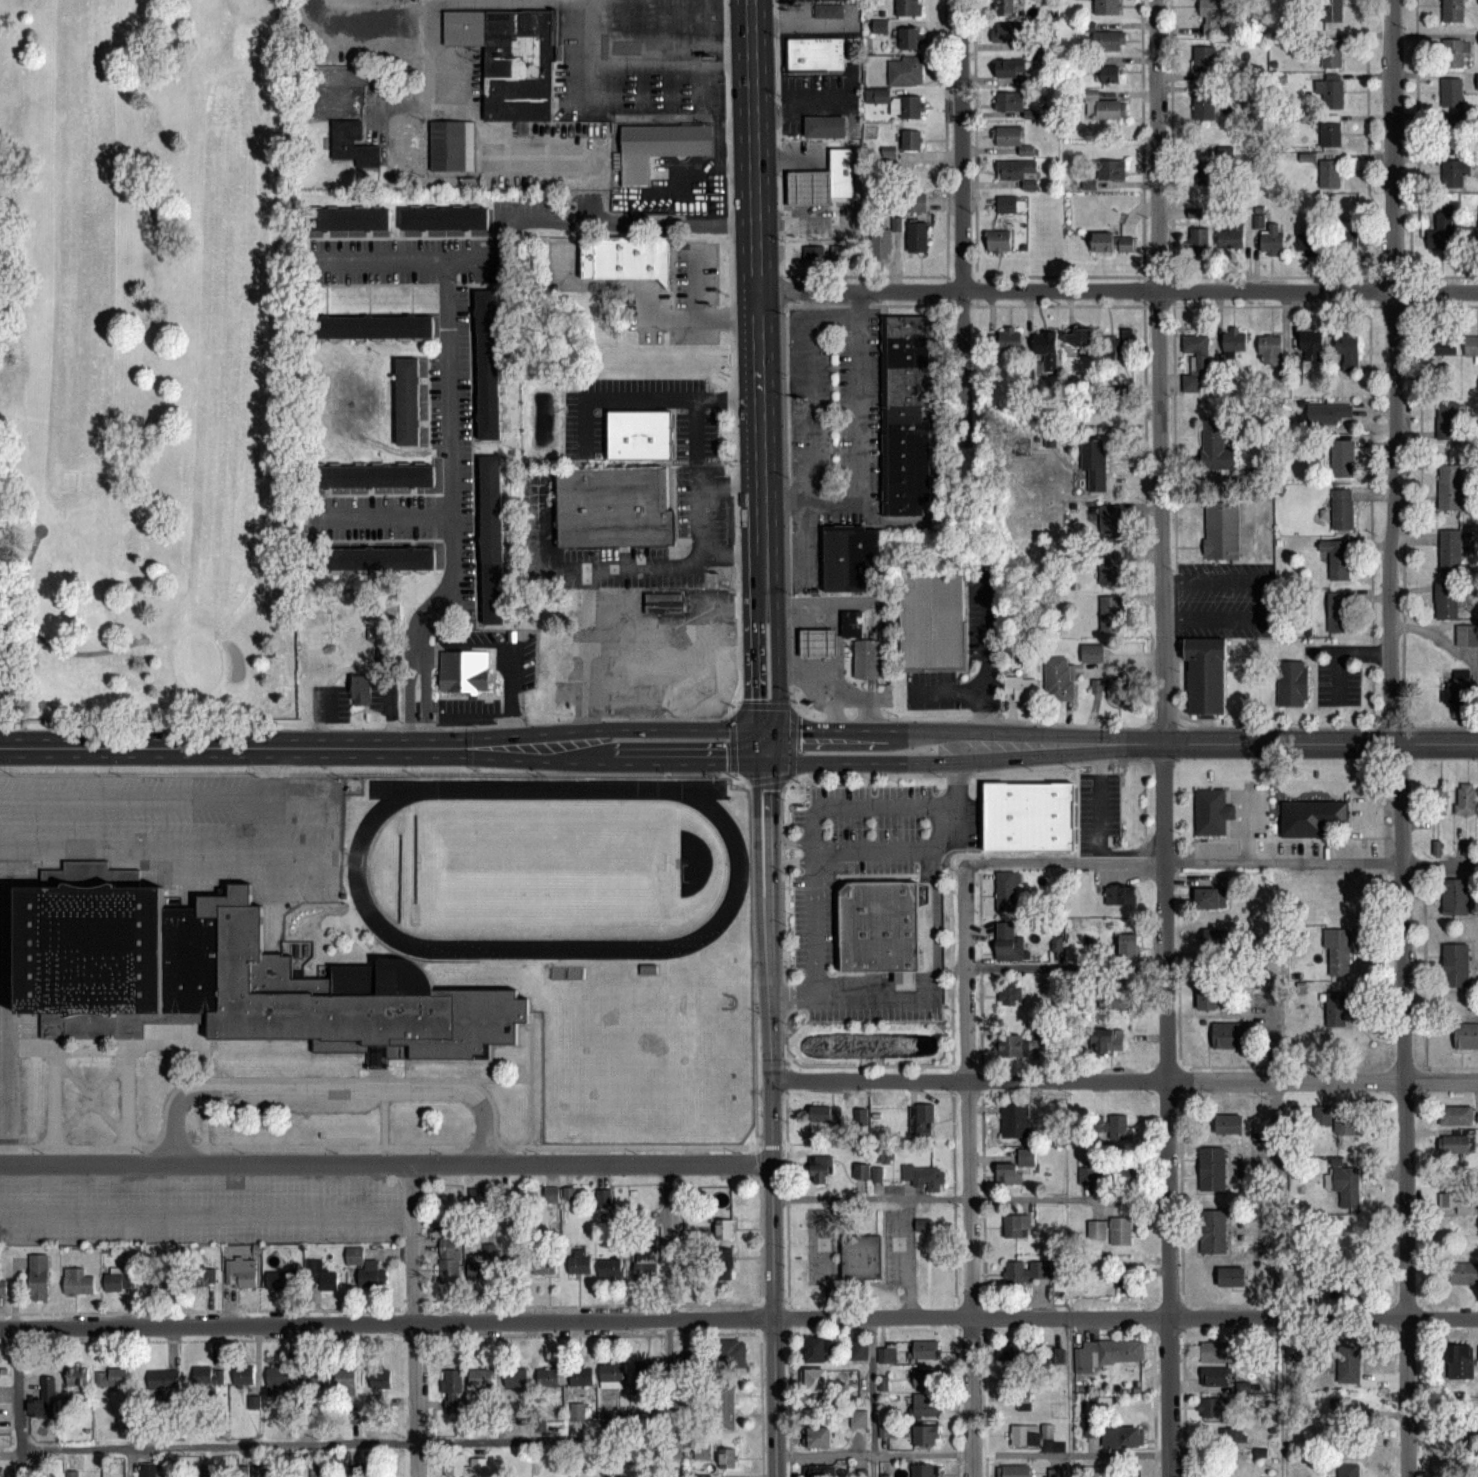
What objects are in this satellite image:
building: (908, 7)
building: (1108, 7)
building: (1006, 8)
building: (827, 9)
building: (1453, 10)
building: (1333, 14)
building: (1211, 18)
building: (1006, 32)
building: (911, 39)
building: (1109, 41)
building: (814, 53)
building: (1332, 53)
building: (1453, 53)
building: (510, 58)
building: (1205, 58)
road: (643, 60)
building: (1009, 68)
building: (906, 70)
building: (1110, 74)
building: (1452, 91)
building: (1331, 94)
road: (636, 98)
building: (1010, 101)
building: (911, 106)
building: (1205, 106)
building: (1103, 108)
building: (823, 125)
building: (1456, 128)
building: (1331, 131)
building: (1008, 135)
building: (912, 140)
building: (353, 144)
building: (451, 144)
building: (658, 146)
building: (1209, 162)
building: (1113, 168)
building: (1018, 170)
building: (1330, 173)
building: (1457, 174)
building: (809, 187)
building: (836, 188)
building: (916, 202)
building: (1007, 203)
building: (1195, 212)
building: (345, 218)
building: (444, 218)
road: (961, 221)
road: (588, 222)
building: (1443, 229)
building: (1349, 235)
building: (917, 237)
building: (1231, 237)
building: (1272, 237)
building: (1472, 238)
building: (999, 240)
building: (1198, 240)
road: (756, 241)
building: (881, 243)
building: (1113, 243)
building: (1307, 244)
building: (828, 253)
building: (625, 256)
road: (695, 282)
road: (1117, 290)
road: (683, 319)
building: (368, 326)
building: (1079, 335)
building: (1008, 339)
building: (1234, 341)
building: (1121, 345)
building: (1312, 345)
building: (1443, 345)
building: (1471, 345)
building: (1047, 347)
building: (1271, 347)
building: (1197, 350)
building: (1347, 353)
park: (147, 362)
building: (487, 364)
building: (1191, 383)
road: (643, 398)
building: (363, 400)
building: (407, 400)
road: (451, 405)
building: (1329, 413)
building: (904, 414)
building: (1449, 420)
building: (639, 434)
road: (696, 441)
road: (857, 443)
building: (1215, 445)
building: (1342, 458)
building: (1095, 464)
building: (368, 475)
road: (729, 484)
building: (1450, 487)
building: (614, 506)
building: (1343, 509)
road: (386, 514)
building: (1110, 523)
building: (1222, 530)
building: (491, 539)
road: (761, 545)
road: (731, 551)
building: (1451, 551)
building: (850, 557)
building: (369, 558)
building: (1339, 560)
road: (618, 566)
building: (1110, 568)
road: (1262, 597)
building: (1446, 600)
building: (663, 603)
road: (801, 608)
building: (1340, 612)
building: (1111, 614)
building: (930, 621)
building: (851, 622)
road: (628, 632)
building: (1467, 635)
building: (817, 642)
road: (822, 642)
road: (58, 647)
road: (1337, 650)
road: (721, 652)
building: (1092, 652)
building: (866, 657)
road: (984, 660)
road: (417, 661)
road: (357, 665)
road: (753, 665)
building: (464, 669)
building: (1204, 674)
building: (1059, 679)
road: (774, 681)
road: (836, 682)
building: (1291, 682)
building: (1021, 688)
building: (362, 689)
building: (1113, 689)
road: (948, 690)
road: (827, 692)
building: (1458, 693)
road: (512, 696)
road: (667, 727)
traffic signals: (754, 727)
road: (764, 727)
traffic signals: (774, 728)
road: (867, 728)
road: (513, 730)
road: (415, 736)
road: (1394, 737)
road: (1162, 738)
road: (1217, 743)
road: (754, 744)
road: (293, 747)
traffic signals: (774, 760)
road: (868, 760)
road: (677, 761)
traffic signals: (754, 761)
road: (268, 771)
road: (134, 795)
building: (1465, 798)
road: (955, 800)
building: (1439, 800)
road: (820, 809)
building: (1210, 810)
building: (1309, 815)
building: (1029, 816)
road: (1100, 829)
road: (794, 842)
road: (160, 848)
road: (774, 848)
road: (872, 848)
road: (756, 849)
road: (794, 859)
road: (1219, 860)
park: (546, 867)
track: (736, 870)
building: (1007, 890)
building: (1121, 895)
building: (1456, 895)
building: (1210, 897)
road: (932, 917)
building: (879, 926)
building: (1217, 938)
building: (1009, 941)
building: (1127, 944)
building: (1338, 952)
road: (1064, 964)
building: (1456, 964)
road: (814, 969)
building: (237, 978)
road: (852, 995)
road: (7, 997)
building: (1207, 997)
building: (1011, 999)
building: (1116, 1001)
building: (1336, 1009)
building: (1231, 1034)
building: (1466, 1035)
building: (1107, 1040)
building: (1011, 1045)
road: (1123, 1079)
road: (334, 1088)
building: (825, 1113)
building: (1457, 1113)
road: (175, 1116)
building: (923, 1117)
building: (1015, 1120)
building: (1325, 1120)
road: (484, 1121)
building: (1229, 1124)
building: (1111, 1125)
road: (2, 1131)
building: (1455, 1143)
building: (885, 1155)
road: (385, 1161)
building: (821, 1168)
building: (1014, 1168)
building: (1212, 1168)
building: (861, 1170)
road: (968, 1171)
building: (1088, 1175)
building: (925, 1176)
building: (1347, 1188)
building: (135, 1192)
building: (569, 1193)
building: (478, 1195)
building: (551, 1195)
building: (604, 1197)
road: (969, 1198)
building: (1455, 1201)
road: (771, 1206)
road: (206, 1224)
building: (1017, 1226)
building: (724, 1229)
building: (1113, 1230)
building: (1213, 1232)
road: (1277, 1234)
building: (1452, 1241)
building: (1346, 1247)
building: (858, 1254)
building: (448, 1260)
building: (645, 1262)
building: (579, 1263)
building: (482, 1264)
building: (723, 1264)
building: (514, 1265)
building: (544, 1265)
building: (611, 1266)
building: (1026, 1271)
building: (241, 1273)
building: (1464, 1274)
building: (320, 1275)
building: (371, 1275)
building: (204, 1276)
building: (1232, 1276)
building: (39, 1277)
building: (167, 1277)
building: (281, 1279)
building: (1124, 1279)
building: (119, 1280)
building: (78, 1281)
building: (1347, 1288)
road: (738, 1316)
road: (414, 1318)
road: (665, 1320)
building: (818, 1347)
building: (858, 1349)
building: (926, 1349)
building: (1121, 1351)
building: (732, 1352)
building: (1012, 1352)
building: (1219, 1352)
building: (887, 1353)
building: (1057, 1358)
building: (684, 1359)
building: (1084, 1360)
building: (1461, 1362)
building: (1350, 1364)
building: (647, 1369)
building: (612, 1374)
building: (1012, 1374)
building: (243, 1375)
building: (77, 1376)
building: (208, 1376)
building: (580, 1376)
building: (1215, 1376)
building: (111, 1377)
building: (312, 1377)
building: (516, 1377)
building: (926, 1377)
building: (481, 1378)
building: (547, 1378)
building: (163, 1379)
building: (815, 1379)
building: (381, 1380)
building: (276, 1381)
building: (345, 1381)
building: (451, 1389)
road: (870, 1396)
road: (1067, 1397)
building: (44, 1399)
building: (1019, 1400)
road: (14, 1403)
building: (926, 1404)
building: (726, 1406)
building: (1209, 1407)
building: (577, 1411)
building: (612, 1419)
building: (858, 1419)
building: (886, 1430)
building: (925, 1435)
building: (1025, 1435)
building: (818, 1437)
building: (1122, 1437)
building: (1234, 1437)
road: (342, 1441)
road: (969, 1452)
building: (727, 1457)
building: (465, 1465)
building: (1348, 1469)
building: (925, 1470)
building: (818, 1471)
building: (1014, 1471)
building: (148, 1473)
building: (1055, 1473)

